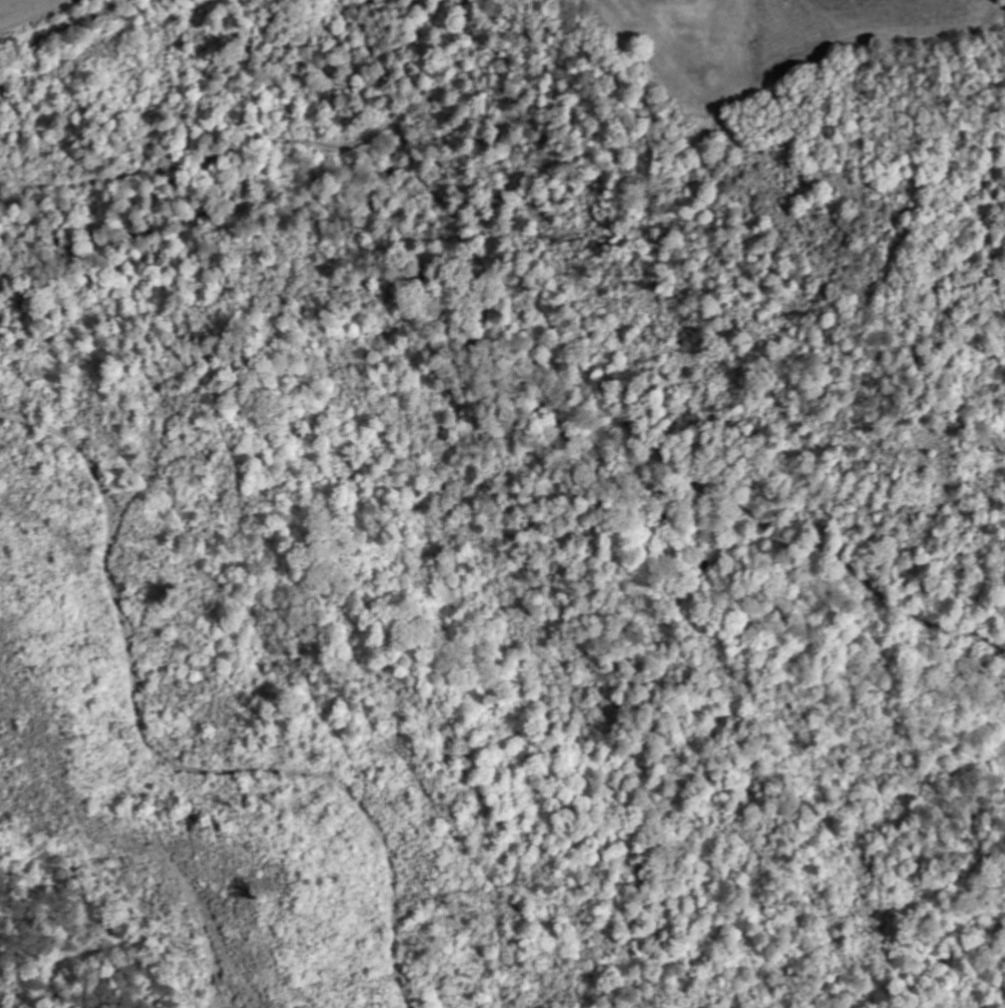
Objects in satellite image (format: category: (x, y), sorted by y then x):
road: (64, 28)

